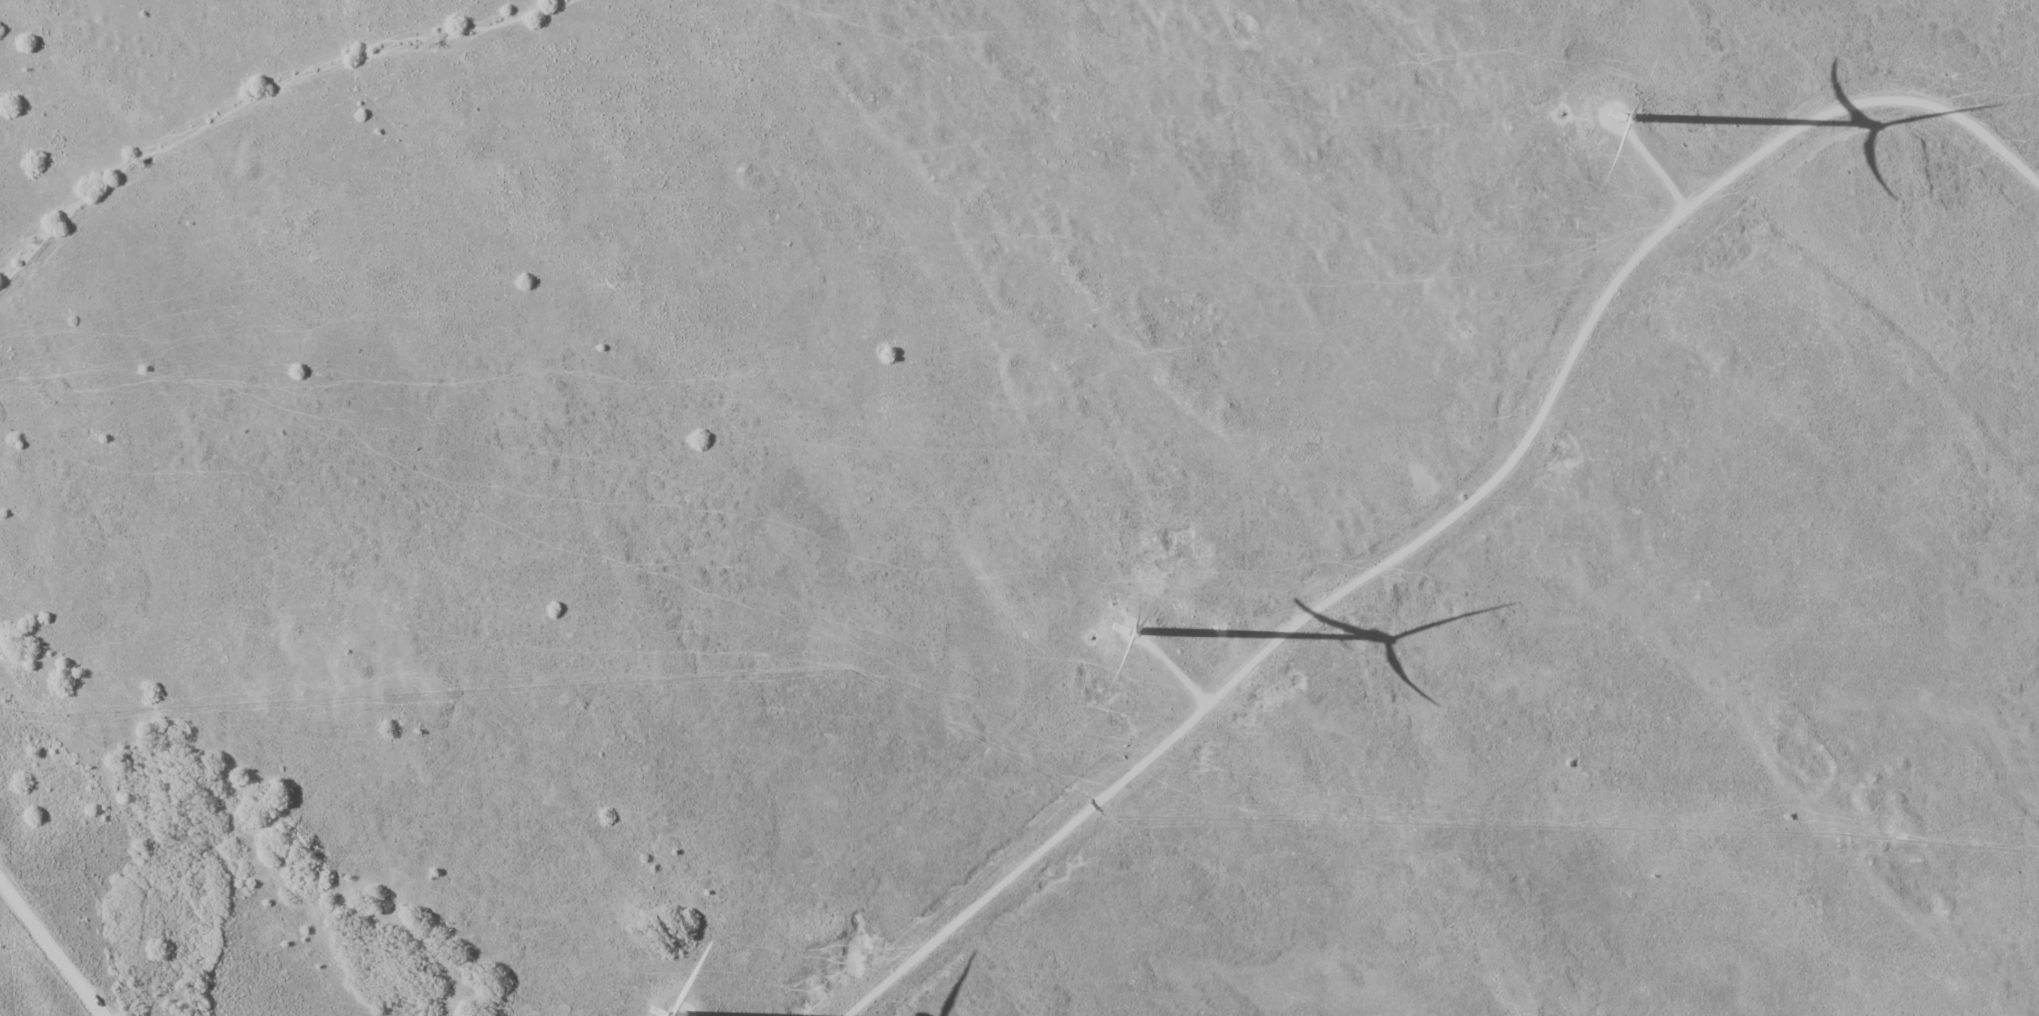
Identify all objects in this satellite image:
wind turbine: (1625, 124)
wind turbine: (1146, 636)
road: (57, 939)

